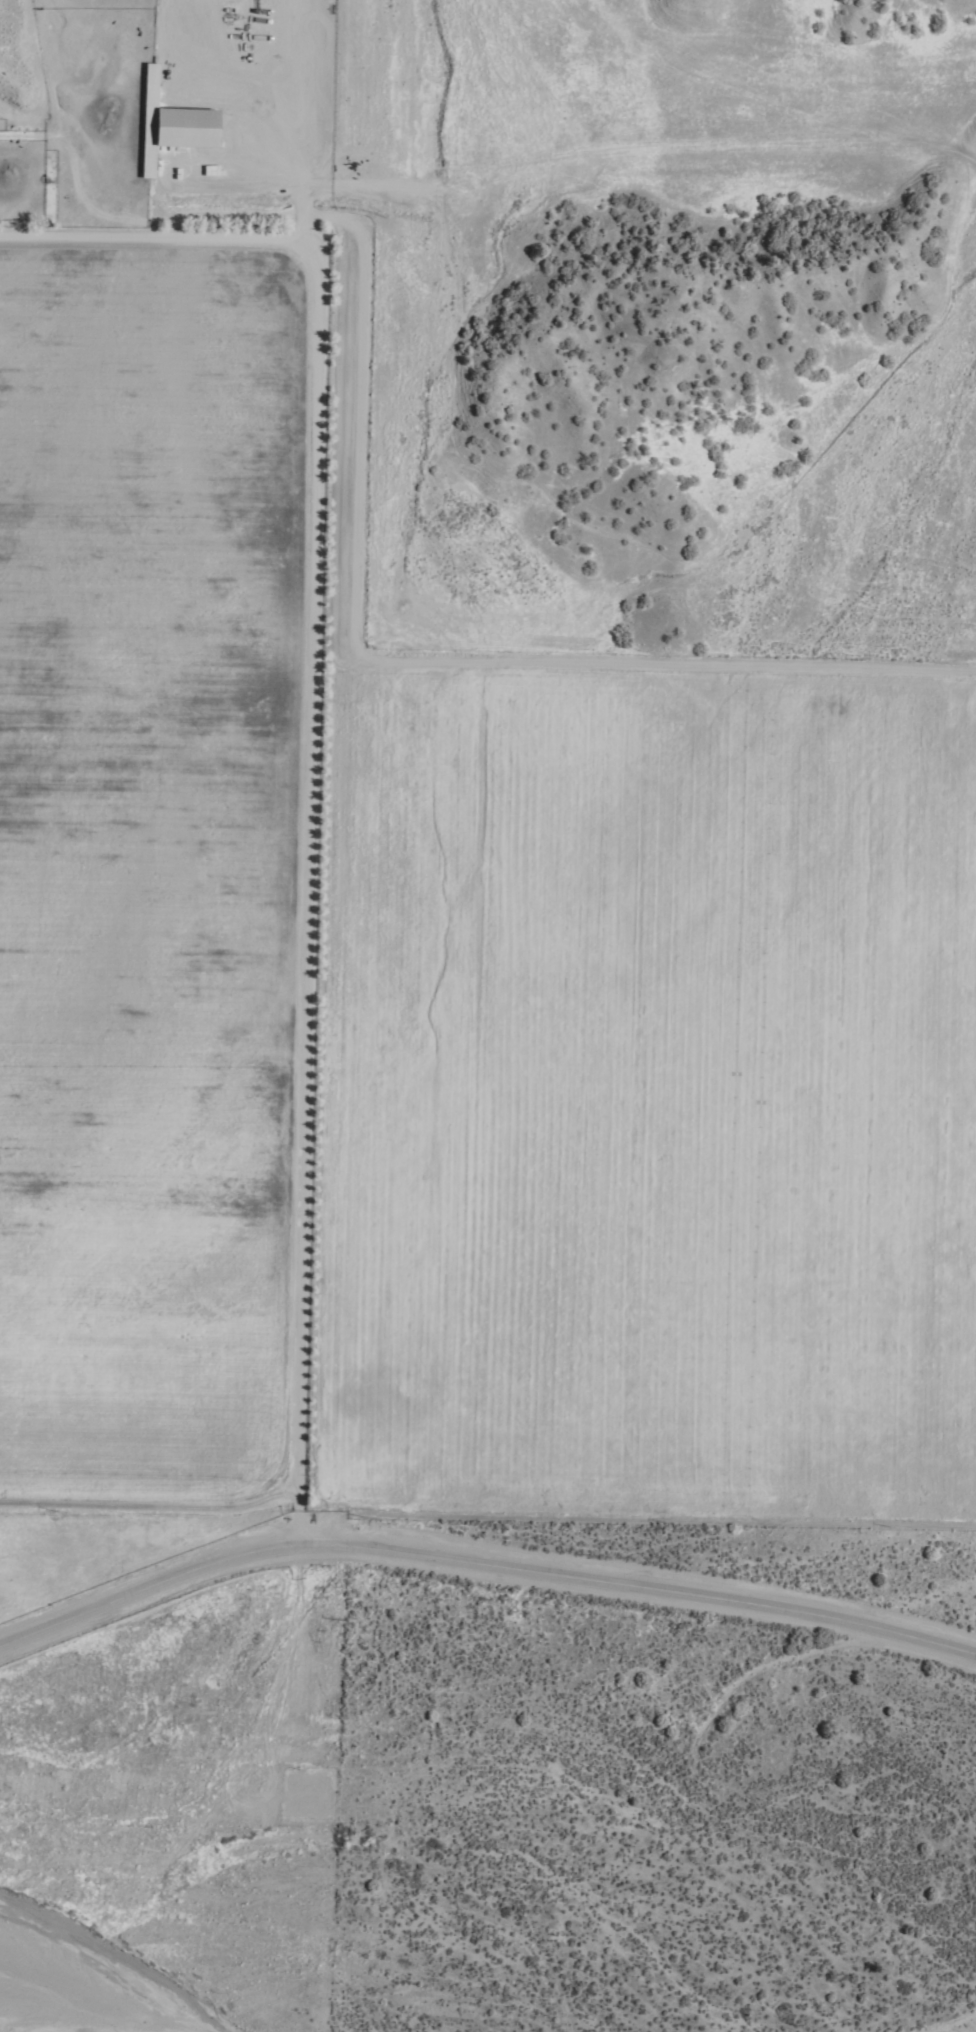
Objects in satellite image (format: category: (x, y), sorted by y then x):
road: (316, 747)
road: (482, 1570)

